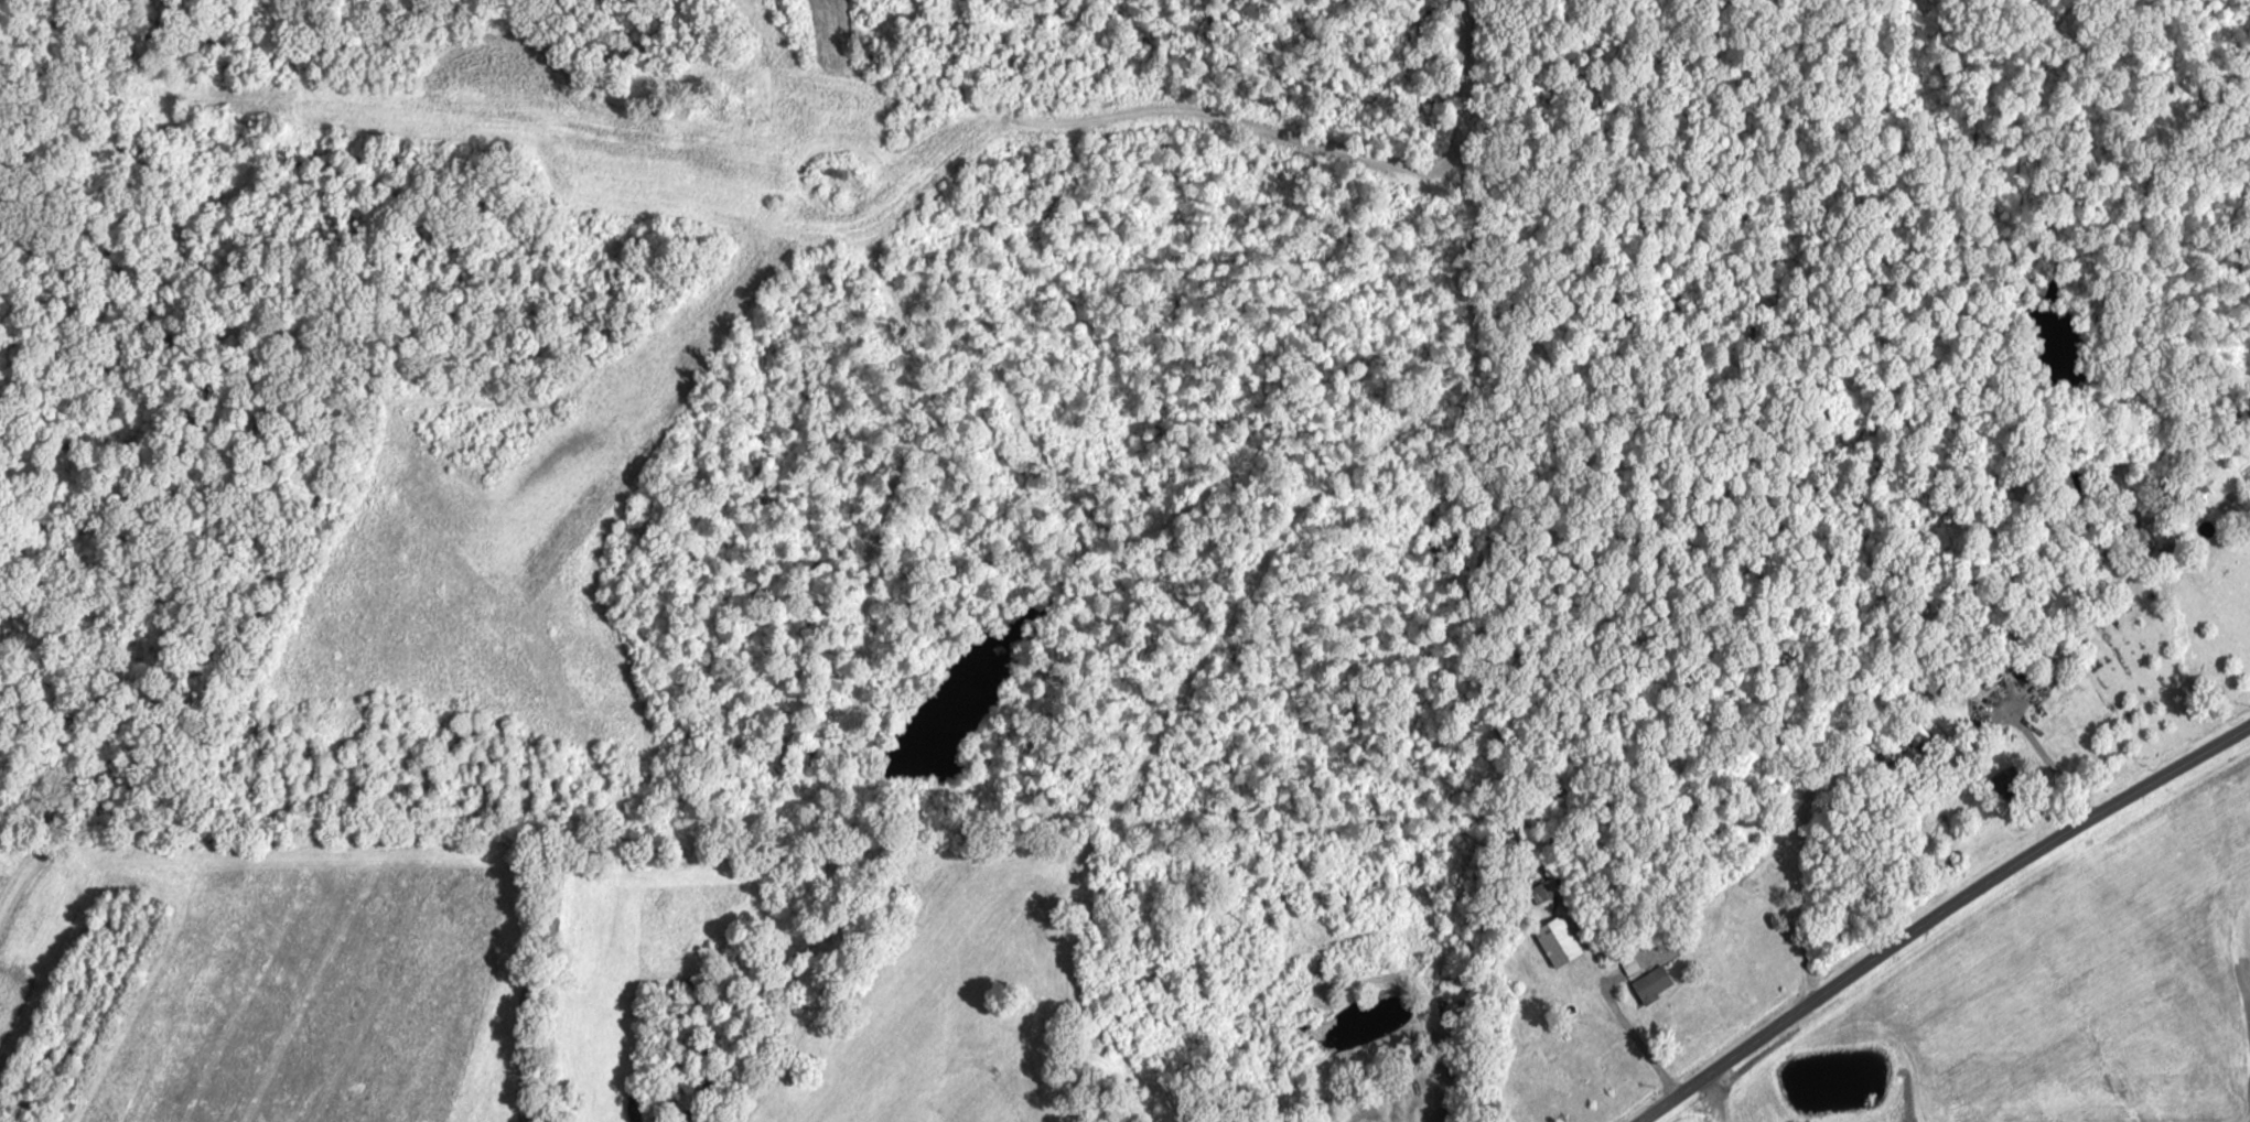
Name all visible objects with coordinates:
road: (1790, 734)
building: (1544, 889)
road: (1935, 915)
building: (1557, 940)
building: (1651, 984)
building: (1540, 1062)

